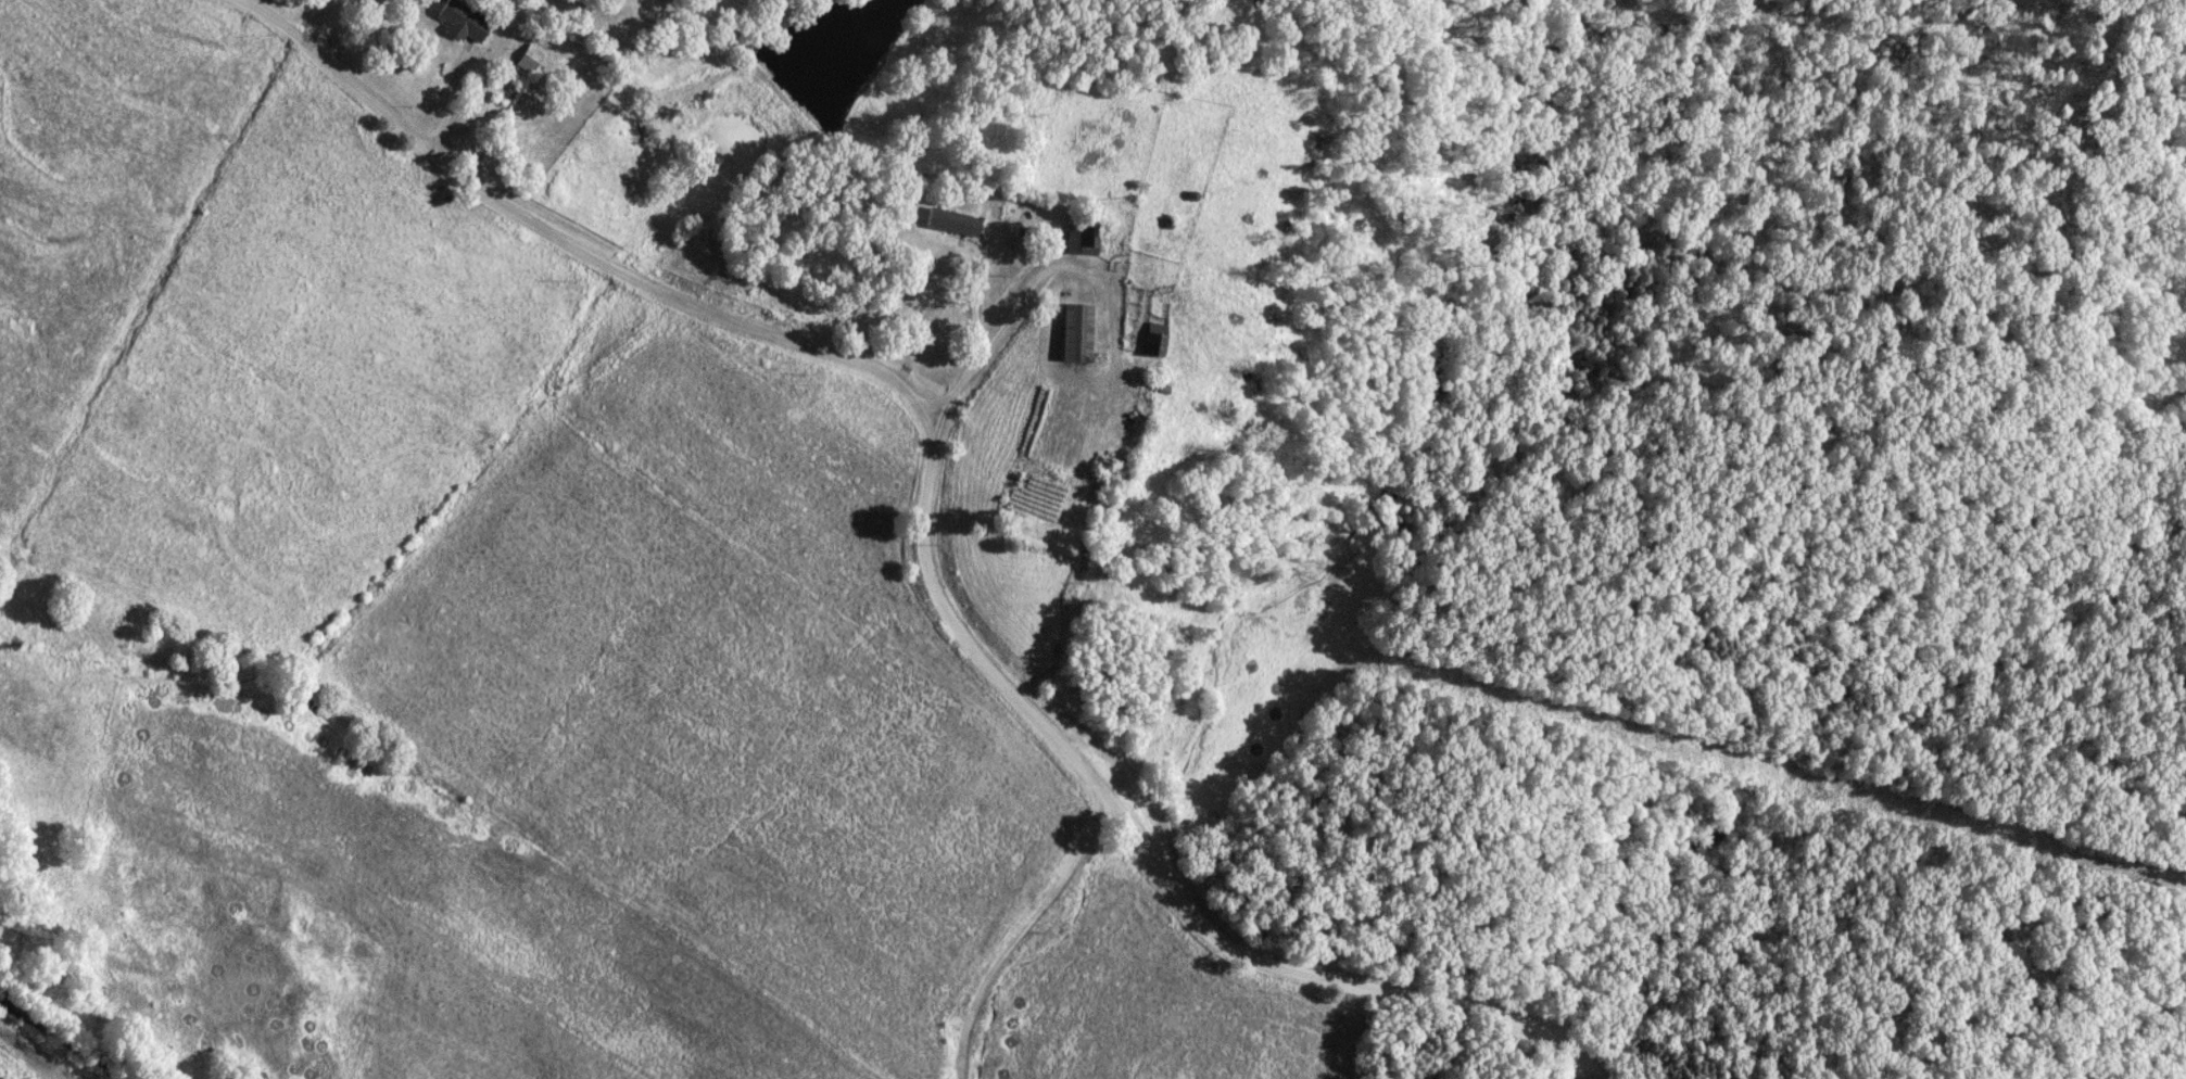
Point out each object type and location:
building: (615, 0)
building: (465, 21)
building: (529, 62)
road: (482, 86)
building: (955, 221)
building: (1085, 238)
road: (554, 240)
road: (966, 313)
building: (1078, 332)
road: (994, 345)
road: (1147, 856)
building: (2017, 956)

